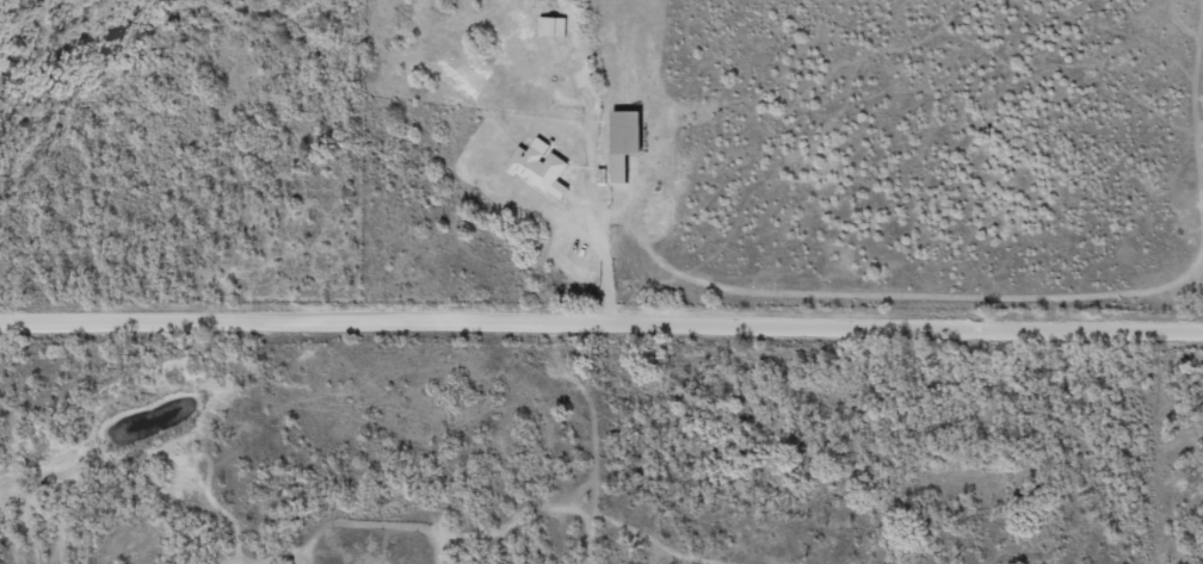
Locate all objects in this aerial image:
building: (547, 26)
building: (624, 135)
building: (535, 176)
road: (606, 259)
road: (601, 318)

